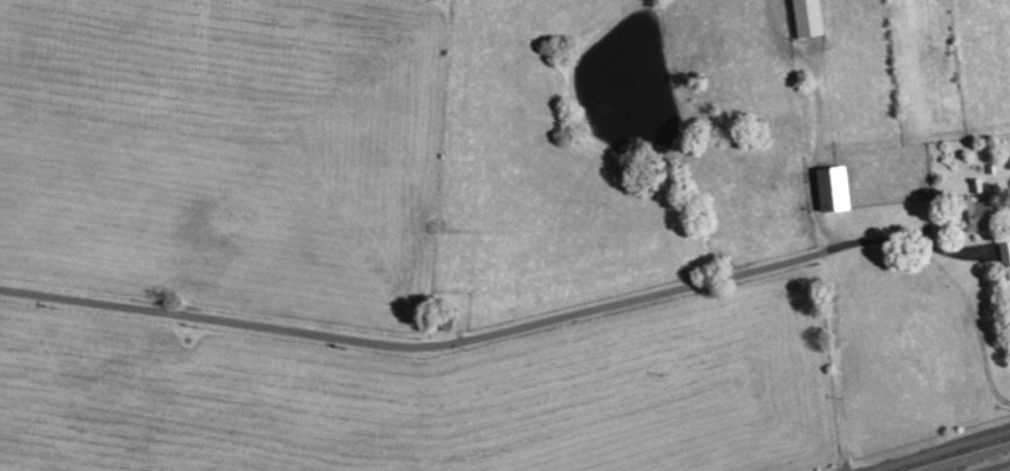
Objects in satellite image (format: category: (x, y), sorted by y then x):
building: (838, 189)
building: (983, 221)
road: (475, 339)
railway: (948, 453)
road: (998, 467)

